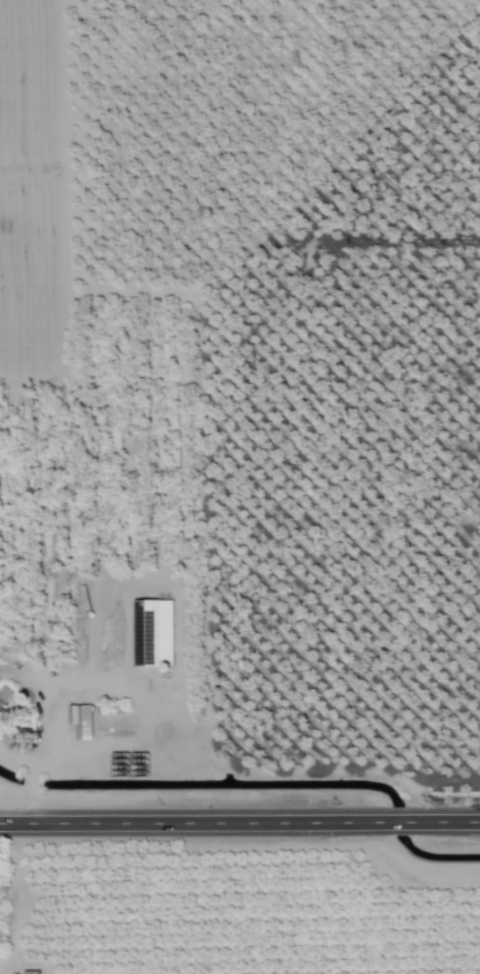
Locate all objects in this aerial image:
building: (154, 633)
building: (5, 698)
building: (83, 720)
road: (445, 822)
road: (194, 823)
road: (399, 823)
building: (32, 972)

